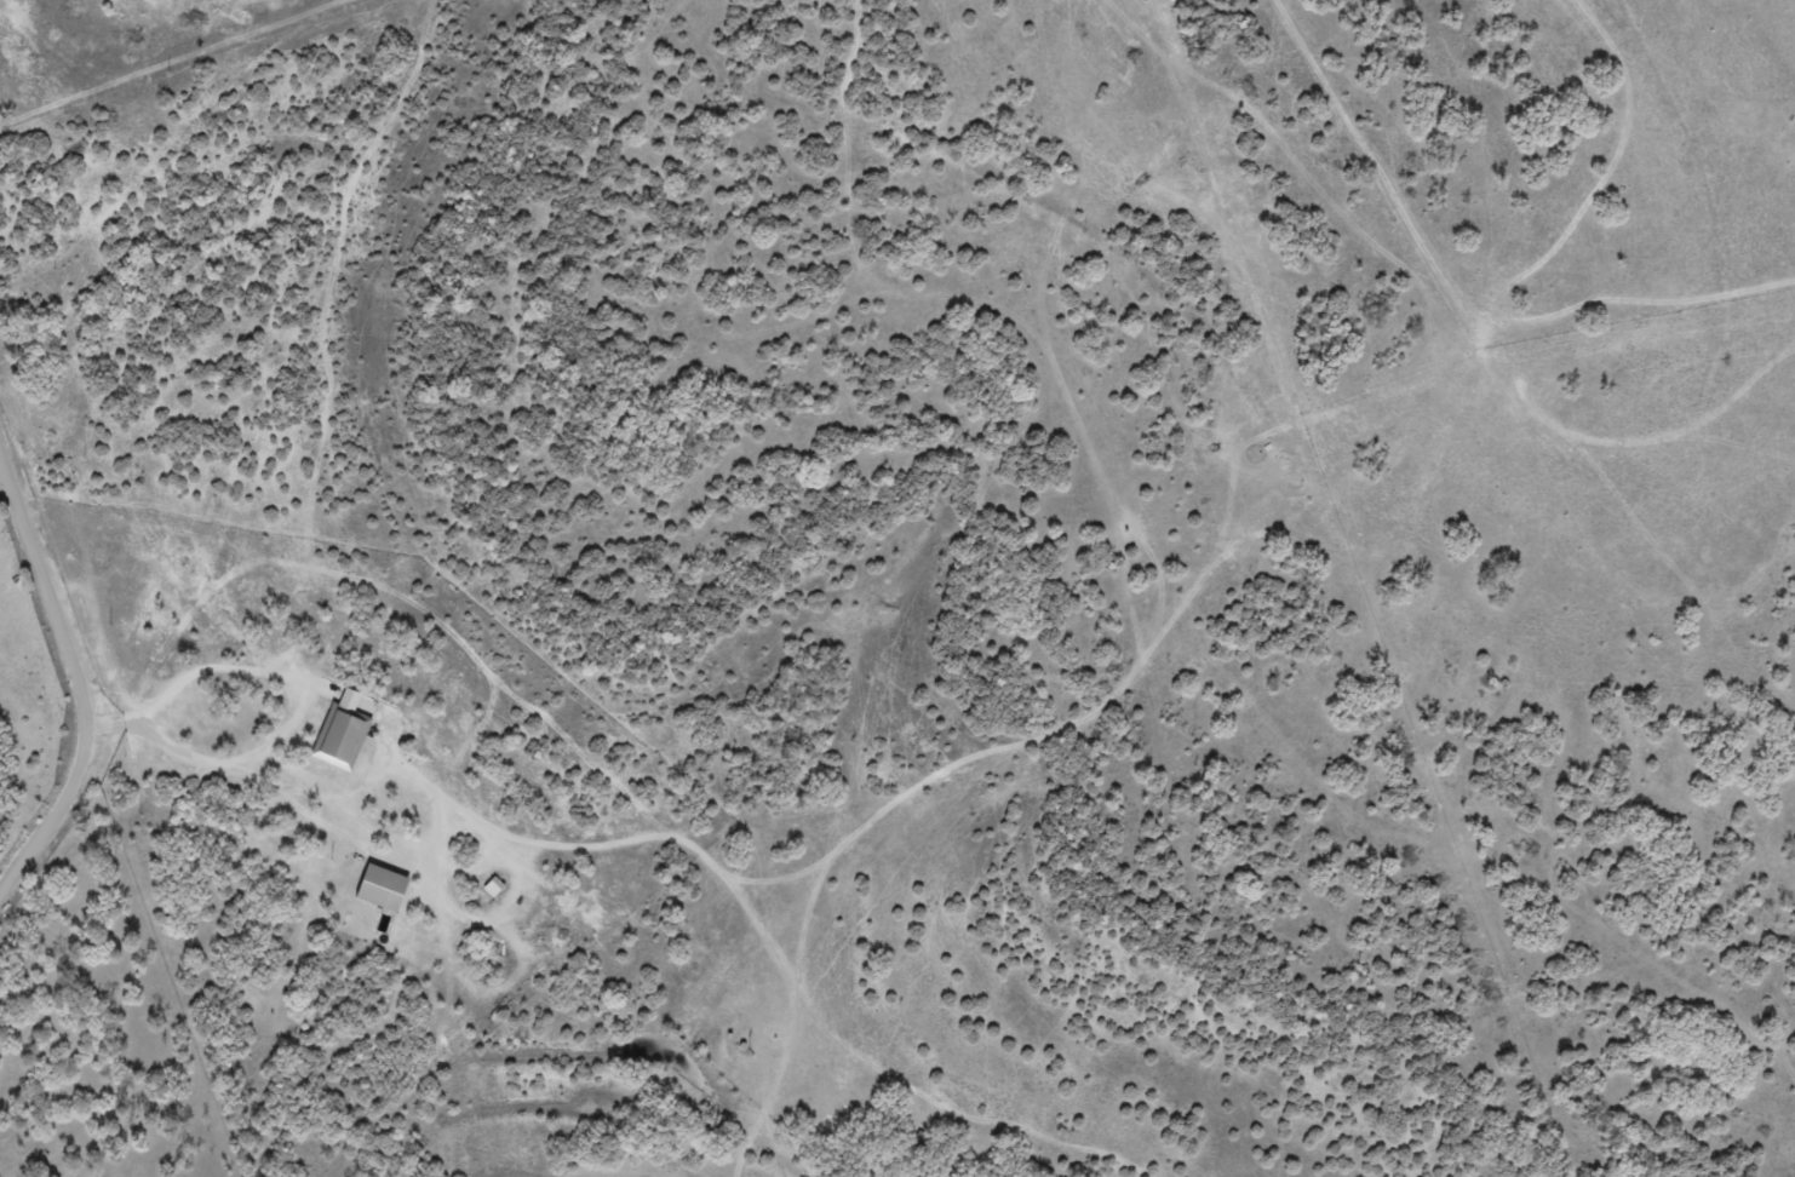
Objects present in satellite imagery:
road: (68, 694)
building: (339, 735)

